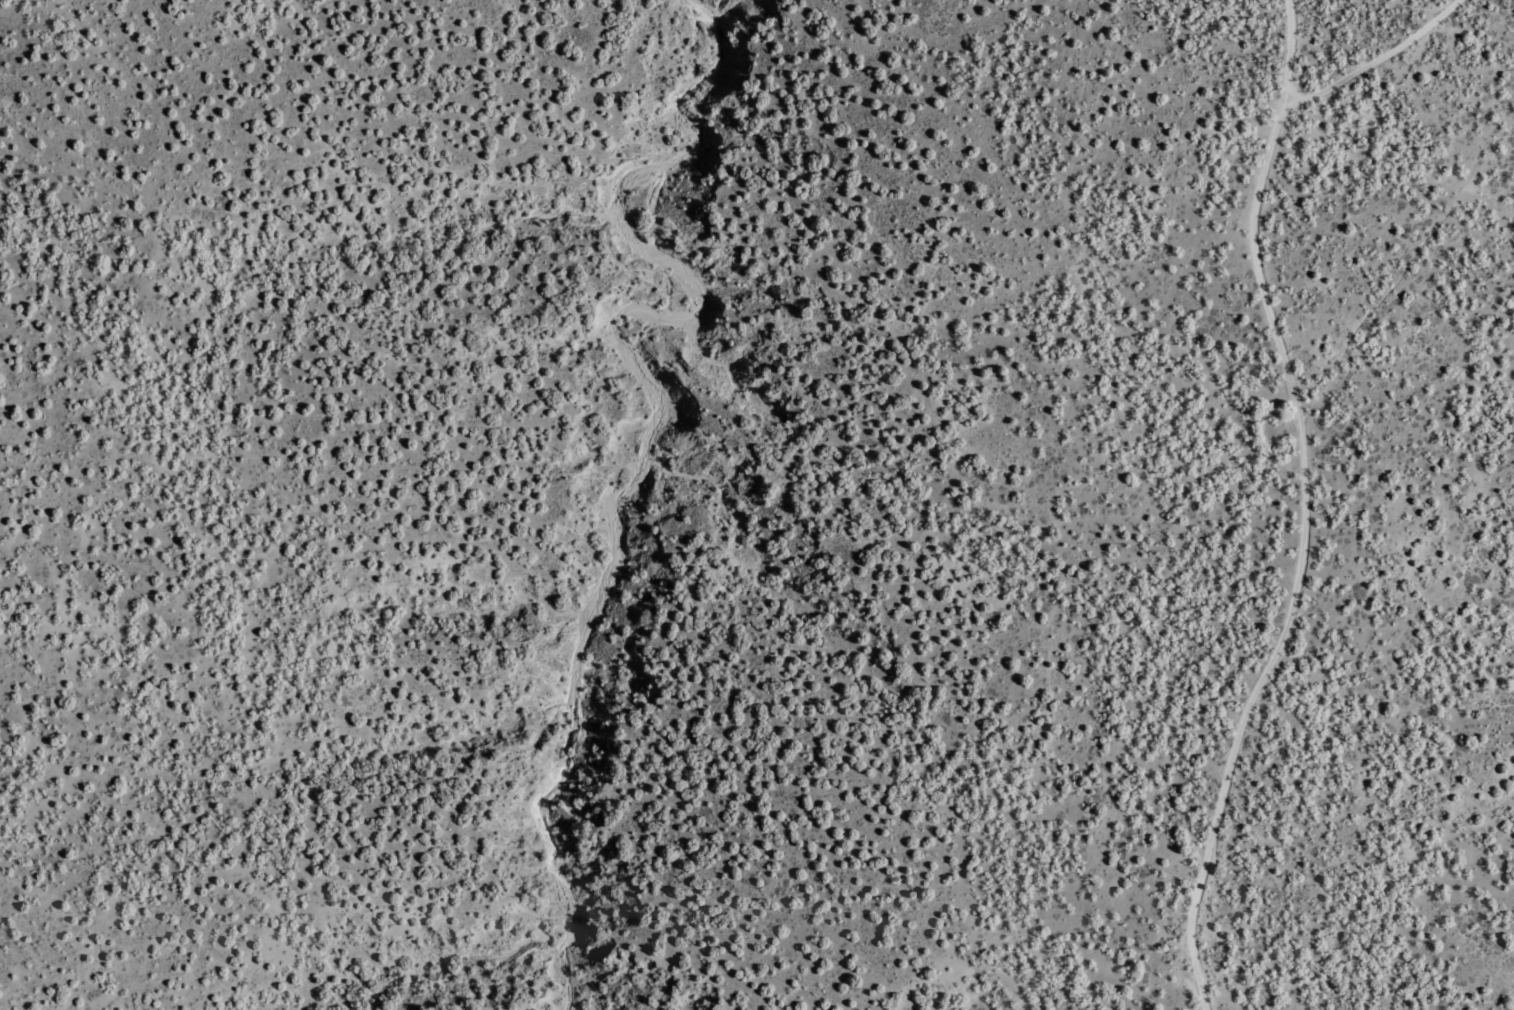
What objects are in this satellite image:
road: (1273, 510)

